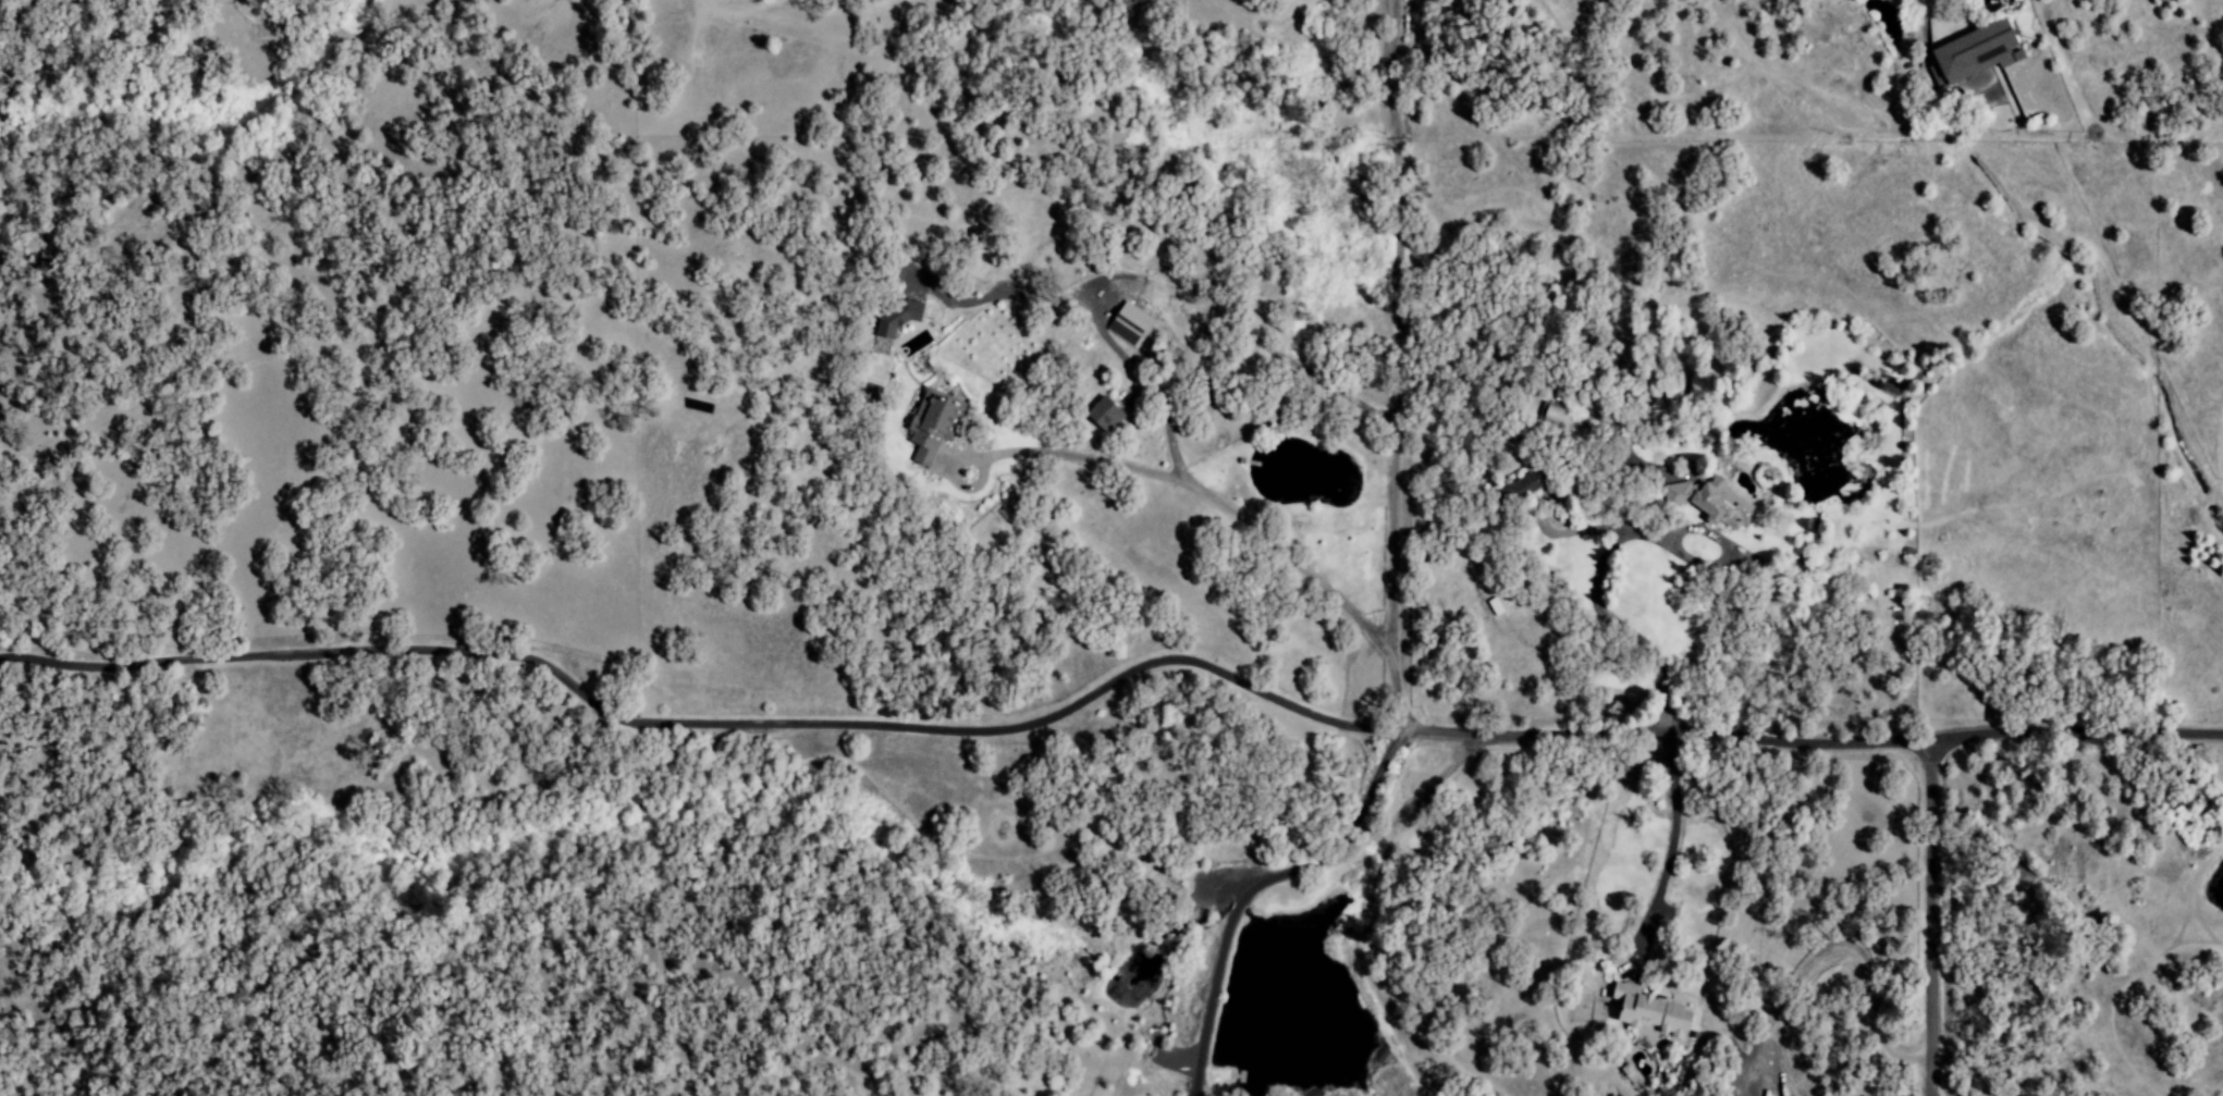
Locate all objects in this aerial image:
building: (1973, 53)
building: (896, 318)
building: (1129, 325)
road: (1100, 333)
road: (1395, 368)
building: (1671, 395)
building: (1104, 416)
building: (1555, 417)
building: (932, 426)
building: (1518, 488)
road: (1208, 497)
building: (1710, 502)
road: (1596, 605)
road: (1106, 686)
road: (1671, 828)
road: (1256, 885)
road: (1930, 918)
road: (1842, 950)
building: (1647, 1011)

